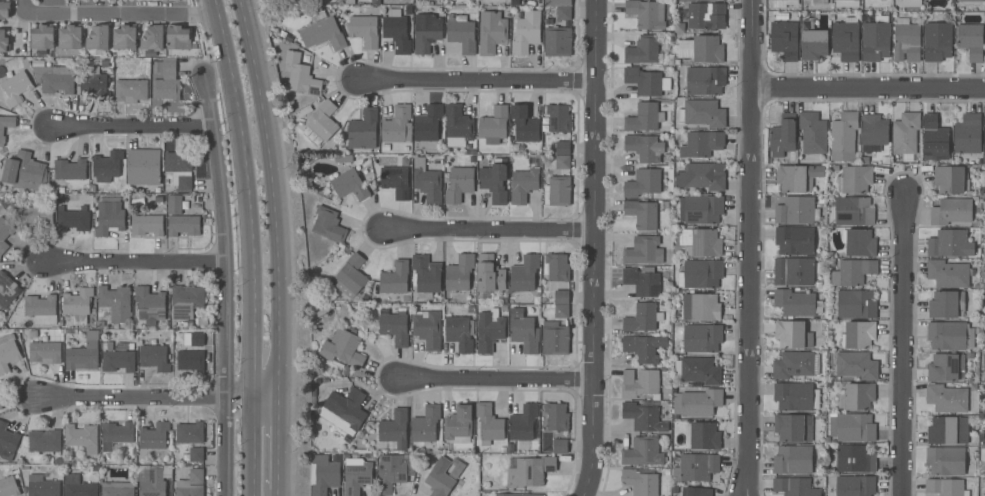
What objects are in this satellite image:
building: (819, 1)
building: (350, 2)
building: (375, 2)
building: (558, 2)
building: (783, 3)
building: (847, 3)
building: (910, 3)
building: (966, 4)
building: (5, 9)
building: (364, 10)
building: (563, 13)
road: (118, 14)
building: (646, 14)
building: (706, 16)
building: (679, 28)
building: (364, 30)
building: (323, 32)
building: (396, 32)
building: (426, 32)
building: (491, 32)
building: (526, 32)
building: (461, 33)
building: (43, 36)
building: (125, 37)
building: (178, 37)
building: (98, 38)
building: (153, 38)
building: (70, 39)
building: (784, 39)
building: (846, 39)
building: (876, 39)
building: (906, 40)
building: (4, 41)
building: (557, 41)
building: (813, 41)
building: (937, 41)
building: (970, 41)
building: (701, 49)
building: (643, 50)
building: (301, 75)
building: (55, 79)
building: (680, 79)
building: (706, 80)
road: (477, 81)
building: (647, 81)
building: (167, 82)
building: (93, 85)
building: (16, 87)
road: (869, 87)
building: (130, 91)
building: (703, 113)
building: (644, 117)
building: (558, 118)
building: (323, 120)
building: (430, 124)
building: (524, 124)
building: (397, 125)
building: (494, 125)
building: (5, 126)
road: (133, 126)
building: (458, 126)
building: (363, 132)
building: (873, 132)
building: (813, 133)
building: (968, 134)
building: (905, 135)
building: (783, 136)
building: (843, 136)
building: (935, 139)
building: (984, 140)
building: (700, 143)
building: (644, 147)
building: (385, 148)
building: (563, 148)
building: (473, 152)
building: (563, 162)
building: (107, 166)
building: (144, 168)
building: (180, 168)
building: (70, 169)
building: (26, 171)
building: (702, 176)
building: (797, 177)
building: (396, 178)
building: (855, 179)
building: (951, 179)
building: (494, 180)
building: (427, 182)
building: (642, 183)
building: (349, 184)
building: (459, 184)
building: (523, 184)
building: (559, 191)
road: (275, 197)
building: (158, 199)
building: (178, 205)
building: (983, 205)
building: (700, 209)
building: (796, 211)
building: (854, 211)
building: (951, 211)
building: (108, 214)
building: (642, 214)
building: (36, 215)
building: (72, 219)
building: (147, 224)
building: (184, 225)
building: (328, 225)
road: (489, 229)
building: (4, 234)
road: (225, 236)
building: (794, 240)
building: (703, 242)
building: (858, 242)
building: (950, 243)
road: (251, 246)
road: (594, 248)
road: (750, 248)
building: (644, 251)
road: (136, 261)
building: (556, 267)
building: (794, 271)
building: (853, 272)
building: (459, 273)
building: (426, 274)
building: (489, 274)
building: (524, 274)
building: (700, 274)
building: (948, 274)
building: (351, 276)
building: (395, 278)
building: (642, 281)
building: (8, 289)
building: (561, 297)
building: (186, 301)
building: (116, 302)
building: (797, 302)
building: (855, 303)
building: (946, 304)
building: (77, 305)
building: (150, 305)
building: (701, 307)
building: (41, 309)
building: (561, 311)
building: (643, 318)
building: (100, 324)
building: (394, 328)
building: (428, 328)
building: (489, 330)
building: (524, 331)
building: (459, 333)
building: (793, 334)
building: (859, 334)
building: (950, 335)
building: (554, 338)
building: (701, 338)
building: (197, 339)
building: (984, 341)
road: (903, 345)
building: (118, 346)
building: (343, 348)
building: (644, 348)
building: (8, 352)
building: (44, 352)
building: (84, 354)
building: (970, 356)
building: (154, 358)
building: (118, 359)
building: (190, 360)
building: (984, 362)
building: (795, 364)
building: (856, 365)
building: (945, 367)
building: (697, 370)
road: (496, 377)
building: (640, 384)
building: (973, 386)
building: (796, 396)
building: (857, 396)
road: (131, 397)
road: (252, 397)
building: (946, 398)
building: (697, 402)
building: (0, 404)
building: (347, 407)
building: (554, 417)
building: (643, 417)
building: (523, 422)
building: (426, 424)
building: (459, 424)
building: (489, 424)
building: (793, 427)
building: (853, 427)
building: (395, 429)
building: (948, 431)
building: (189, 432)
building: (116, 434)
building: (153, 436)
building: (702, 436)
building: (82, 437)
building: (44, 441)
building: (7, 442)
road: (279, 443)
building: (560, 445)
road: (226, 446)
building: (642, 452)
building: (974, 452)
building: (196, 454)
building: (854, 459)
building: (793, 460)
building: (945, 461)
building: (454, 468)
building: (695, 468)
building: (528, 471)
building: (392, 473)
building: (323, 474)
building: (356, 475)
building: (442, 479)
building: (640, 481)
building: (153, 484)
building: (191, 484)
building: (42, 486)
building: (853, 486)
building: (9, 487)
building: (78, 487)
building: (794, 487)
building: (945, 487)
building: (117, 489)
road: (279, 492)
building: (695, 492)
building: (521, 495)

